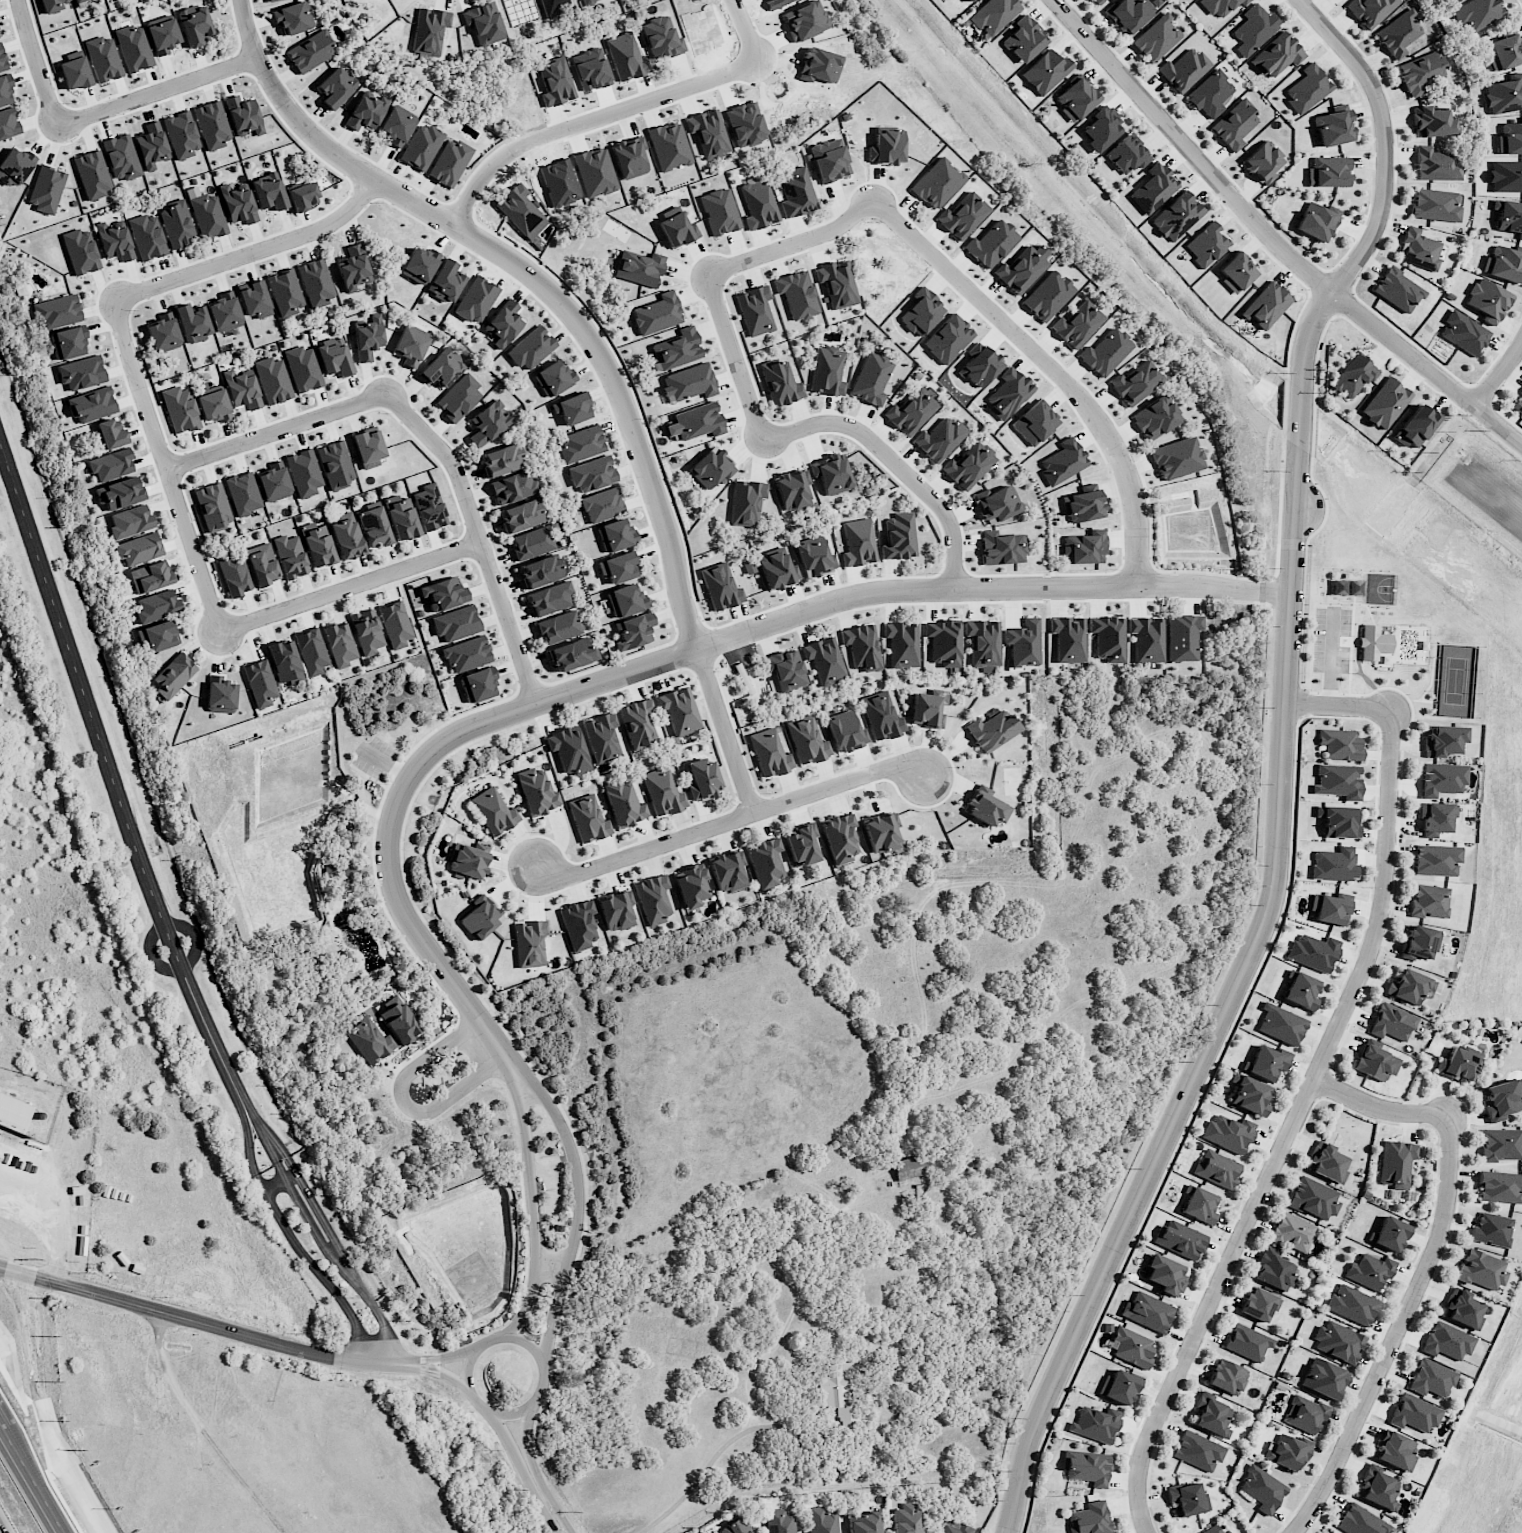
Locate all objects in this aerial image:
building: (77, 0)
building: (271, 0)
building: (967, 0)
building: (1342, 0)
building: (1455, 0)
building: (1097, 1)
building: (51, 5)
building: (1219, 6)
building: (1370, 10)
building: (1129, 12)
building: (1476, 14)
building: (992, 15)
building: (293, 18)
building: (194, 24)
building: (1253, 29)
road: (744, 30)
building: (1398, 33)
building: (162, 34)
building: (660, 38)
building: (1156, 38)
building: (1023, 39)
building: (133, 48)
building: (310, 52)
building: (1276, 55)
building: (625, 57)
building: (102, 58)
building: (2, 60)
road: (38, 63)
building: (1183, 69)
building: (1044, 71)
building: (1420, 71)
building: (74, 73)
building: (555, 81)
building: (336, 86)
building: (1306, 89)
building: (5, 91)
road: (157, 92)
building: (1209, 94)
building: (1504, 94)
building: (1076, 98)
building: (365, 112)
building: (243, 116)
road: (588, 119)
building: (1431, 121)
building: (8, 123)
building: (1234, 124)
building: (211, 125)
building: (396, 125)
building: (1101, 128)
building: (1332, 128)
building: (708, 133)
building: (181, 134)
building: (1510, 138)
building: (150, 144)
building: (668, 145)
building: (421, 146)
building: (885, 146)
building: (1127, 154)
building: (121, 157)
building: (629, 158)
building: (829, 160)
building: (449, 162)
building: (1262, 162)
building: (1436, 165)
building: (14, 166)
building: (1328, 171)
building: (92, 174)
building: (1505, 176)
building: (936, 183)
building: (1152, 188)
building: (46, 189)
building: (268, 191)
building: (795, 193)
building: (302, 196)
building: (237, 204)
building: (758, 204)
building: (1435, 205)
building: (520, 211)
building: (719, 211)
building: (207, 216)
building: (962, 216)
building: (1176, 216)
building: (1508, 216)
building: (1315, 221)
building: (176, 224)
building: (146, 236)
building: (114, 241)
road: (1272, 241)
road: (793, 243)
building: (990, 243)
building: (1206, 244)
building: (1419, 248)
building: (80, 251)
road: (252, 252)
building: (1503, 263)
building: (419, 265)
building: (354, 267)
building: (639, 267)
building: (1021, 268)
building: (1235, 272)
building: (446, 281)
building: (315, 282)
building: (836, 283)
building: (1397, 289)
building: (284, 292)
building: (796, 294)
building: (1047, 295)
building: (253, 299)
building: (475, 300)
building: (1487, 300)
building: (1265, 305)
building: (57, 310)
building: (754, 310)
building: (224, 311)
building: (921, 312)
building: (657, 314)
building: (192, 323)
building: (1076, 324)
building: (1463, 332)
building: (163, 333)
building: (368, 338)
road: (587, 338)
building: (947, 338)
building: (67, 343)
building: (410, 345)
building: (530, 348)
building: (676, 349)
building: (1105, 352)
road: (735, 355)
building: (333, 356)
road: (1051, 364)
building: (441, 368)
building: (302, 369)
building: (826, 371)
building: (81, 372)
building: (1353, 375)
road: (1498, 376)
building: (553, 378)
building: (870, 379)
building: (272, 380)
building: (689, 382)
building: (779, 382)
building: (1135, 383)
building: (241, 389)
building: (1007, 392)
building: (458, 398)
building: (1384, 403)
building: (92, 404)
building: (1517, 404)
building: (214, 406)
building: (180, 409)
building: (571, 409)
building: (910, 411)
building: (1154, 418)
building: (695, 422)
building: (486, 423)
building: (1034, 423)
building: (1414, 426)
road: (276, 429)
building: (110, 434)
building: (939, 439)
building: (580, 444)
building: (367, 447)
building: (1176, 458)
building: (501, 459)
road: (895, 461)
building: (1062, 461)
building: (111, 464)
road: (164, 464)
building: (335, 464)
building: (967, 466)
building: (711, 468)
building: (303, 472)
building: (591, 473)
building: (831, 473)
building: (273, 482)
building: (513, 487)
building: (792, 489)
building: (119, 493)
building: (242, 493)
building: (746, 502)
building: (995, 503)
building: (601, 504)
building: (212, 506)
building: (1082, 506)
building: (429, 507)
road: (1301, 511)
building: (520, 515)
building: (402, 520)
building: (130, 521)
building: (373, 527)
building: (614, 534)
road: (477, 536)
building: (898, 536)
building: (346, 537)
building: (857, 542)
building: (531, 543)
building: (318, 546)
building: (1000, 547)
building: (138, 548)
building: (1083, 548)
building: (290, 556)
building: (814, 557)
building: (261, 564)
building: (617, 567)
building: (775, 569)
building: (541, 571)
building: (234, 573)
building: (149, 577)
road: (349, 586)
building: (720, 586)
building: (442, 593)
building: (550, 598)
building: (624, 600)
building: (155, 605)
building: (455, 623)
building: (395, 624)
building: (558, 626)
building: (366, 631)
building: (633, 631)
building: (158, 635)
building: (1182, 637)
building: (1067, 638)
building: (1107, 638)
building: (1146, 639)
building: (943, 642)
building: (982, 642)
building: (1022, 642)
building: (1372, 642)
building: (901, 643)
building: (339, 644)
building: (861, 646)
building: (311, 651)
building: (467, 653)
building: (572, 654)
road: (652, 659)
building: (283, 660)
building: (824, 660)
building: (785, 669)
building: (174, 675)
building: (259, 683)
building: (477, 685)
building: (219, 695)
building: (679, 710)
building: (926, 710)
building: (881, 716)
building: (638, 723)
building: (992, 729)
building: (845, 731)
building: (601, 736)
building: (806, 740)
building: (1443, 740)
building: (1339, 744)
building: (568, 750)
building: (769, 753)
parking lot: (375, 756)
road: (383, 761)
road: (1281, 768)
building: (702, 779)
building: (1441, 779)
building: (1337, 781)
road: (113, 784)
building: (662, 791)
building: (536, 792)
building: (624, 804)
building: (983, 808)
building: (493, 811)
building: (1435, 817)
building: (587, 819)
road: (729, 819)
building: (1338, 821)
building: (881, 833)
building: (840, 837)
building: (801, 844)
building: (1436, 860)
building: (468, 862)
building: (765, 862)
building: (1333, 864)
building: (727, 870)
building: (690, 885)
building: (653, 898)
building: (1429, 901)
building: (1329, 909)
building: (615, 911)
building: (479, 918)
building: (578, 924)
building: (529, 943)
road: (149, 946)
building: (1312, 952)
building: (1409, 986)
building: (1299, 990)
building: (398, 1020)
building: (1391, 1022)
building: (1280, 1024)
building: (369, 1040)
building: (1266, 1062)
building: (1374, 1062)
building: (1457, 1065)
road: (1313, 1080)
building: (1248, 1094)
building: (1501, 1098)
road: (402, 1101)
road: (1378, 1108)
building: (12, 1112)
building: (1227, 1133)
road: (273, 1143)
building: (1501, 1144)
road: (249, 1155)
road: (276, 1161)
road: (575, 1162)
building: (1326, 1162)
building: (1396, 1163)
road: (527, 1167)
building: (908, 1167)
building: (1216, 1169)
road: (281, 1183)
building: (1499, 1186)
building: (1313, 1198)
building: (1198, 1204)
building: (1491, 1229)
road: (316, 1232)
building: (1291, 1232)
building: (1388, 1234)
building: (1179, 1239)
road: (348, 1266)
road: (548, 1266)
building: (1480, 1269)
building: (1273, 1270)
building: (1369, 1270)
road: (319, 1274)
building: (1165, 1274)
road: (522, 1300)
building: (1259, 1304)
building: (1351, 1304)
building: (1461, 1309)
building: (1147, 1311)
road: (552, 1314)
road: (200, 1326)
road: (1396, 1330)
building: (1446, 1341)
building: (1247, 1342)
building: (1337, 1342)
building: (1131, 1347)
road: (446, 1356)
road: (442, 1373)
building: (1226, 1376)
building: (1324, 1378)
building: (1430, 1378)
building: (1118, 1387)
building: (838, 1401)
road: (508, 1410)
building: (1414, 1413)
building: (1304, 1414)
building: (1211, 1415)
building: (1095, 1424)
road: (1, 1429)
building: (1197, 1450)
building: (1393, 1450)
building: (1286, 1451)
road: (709, 1464)
building: (1087, 1467)
road: (525, 1468)
road: (539, 1469)
road: (32, 1482)
building: (1261, 1489)
building: (1377, 1489)
building: (1186, 1499)
building: (1089, 1518)
building: (907, 1519)
building: (821, 1520)
building: (779, 1521)
building: (1358, 1521)
building: (863, 1522)
building: (735, 1527)
building: (954, 1528)
building: (1211, 1529)
building: (1227, 1532)

